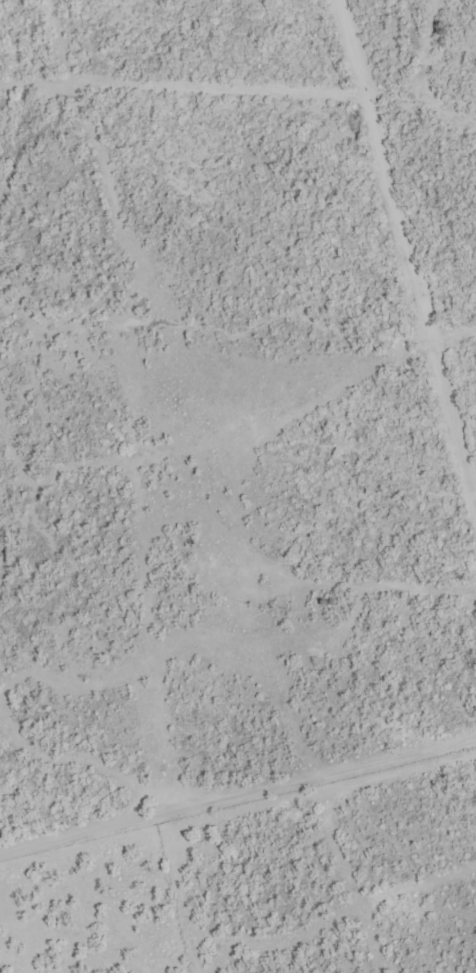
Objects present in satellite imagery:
road: (237, 795)

